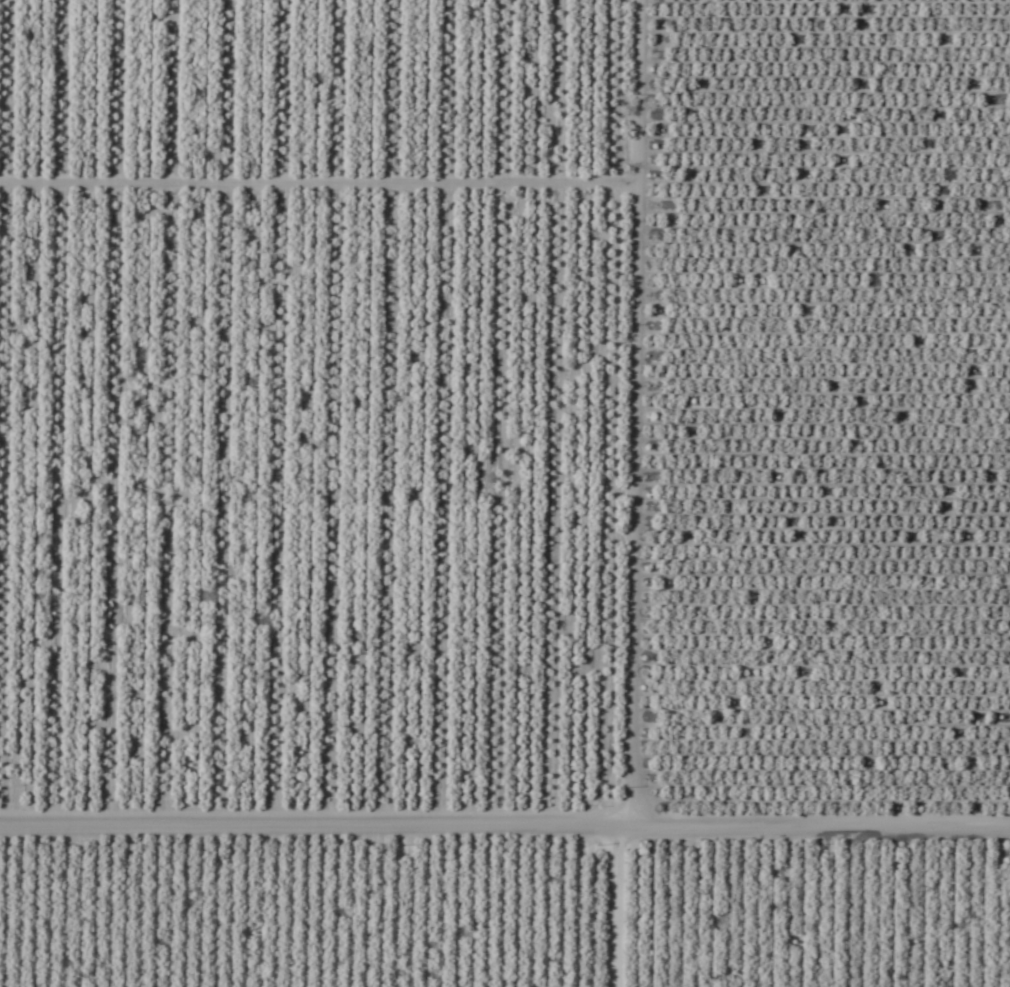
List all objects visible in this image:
crop: (505, 493)
road: (603, 493)
road: (133, 551)
road: (297, 822)
road: (802, 824)

